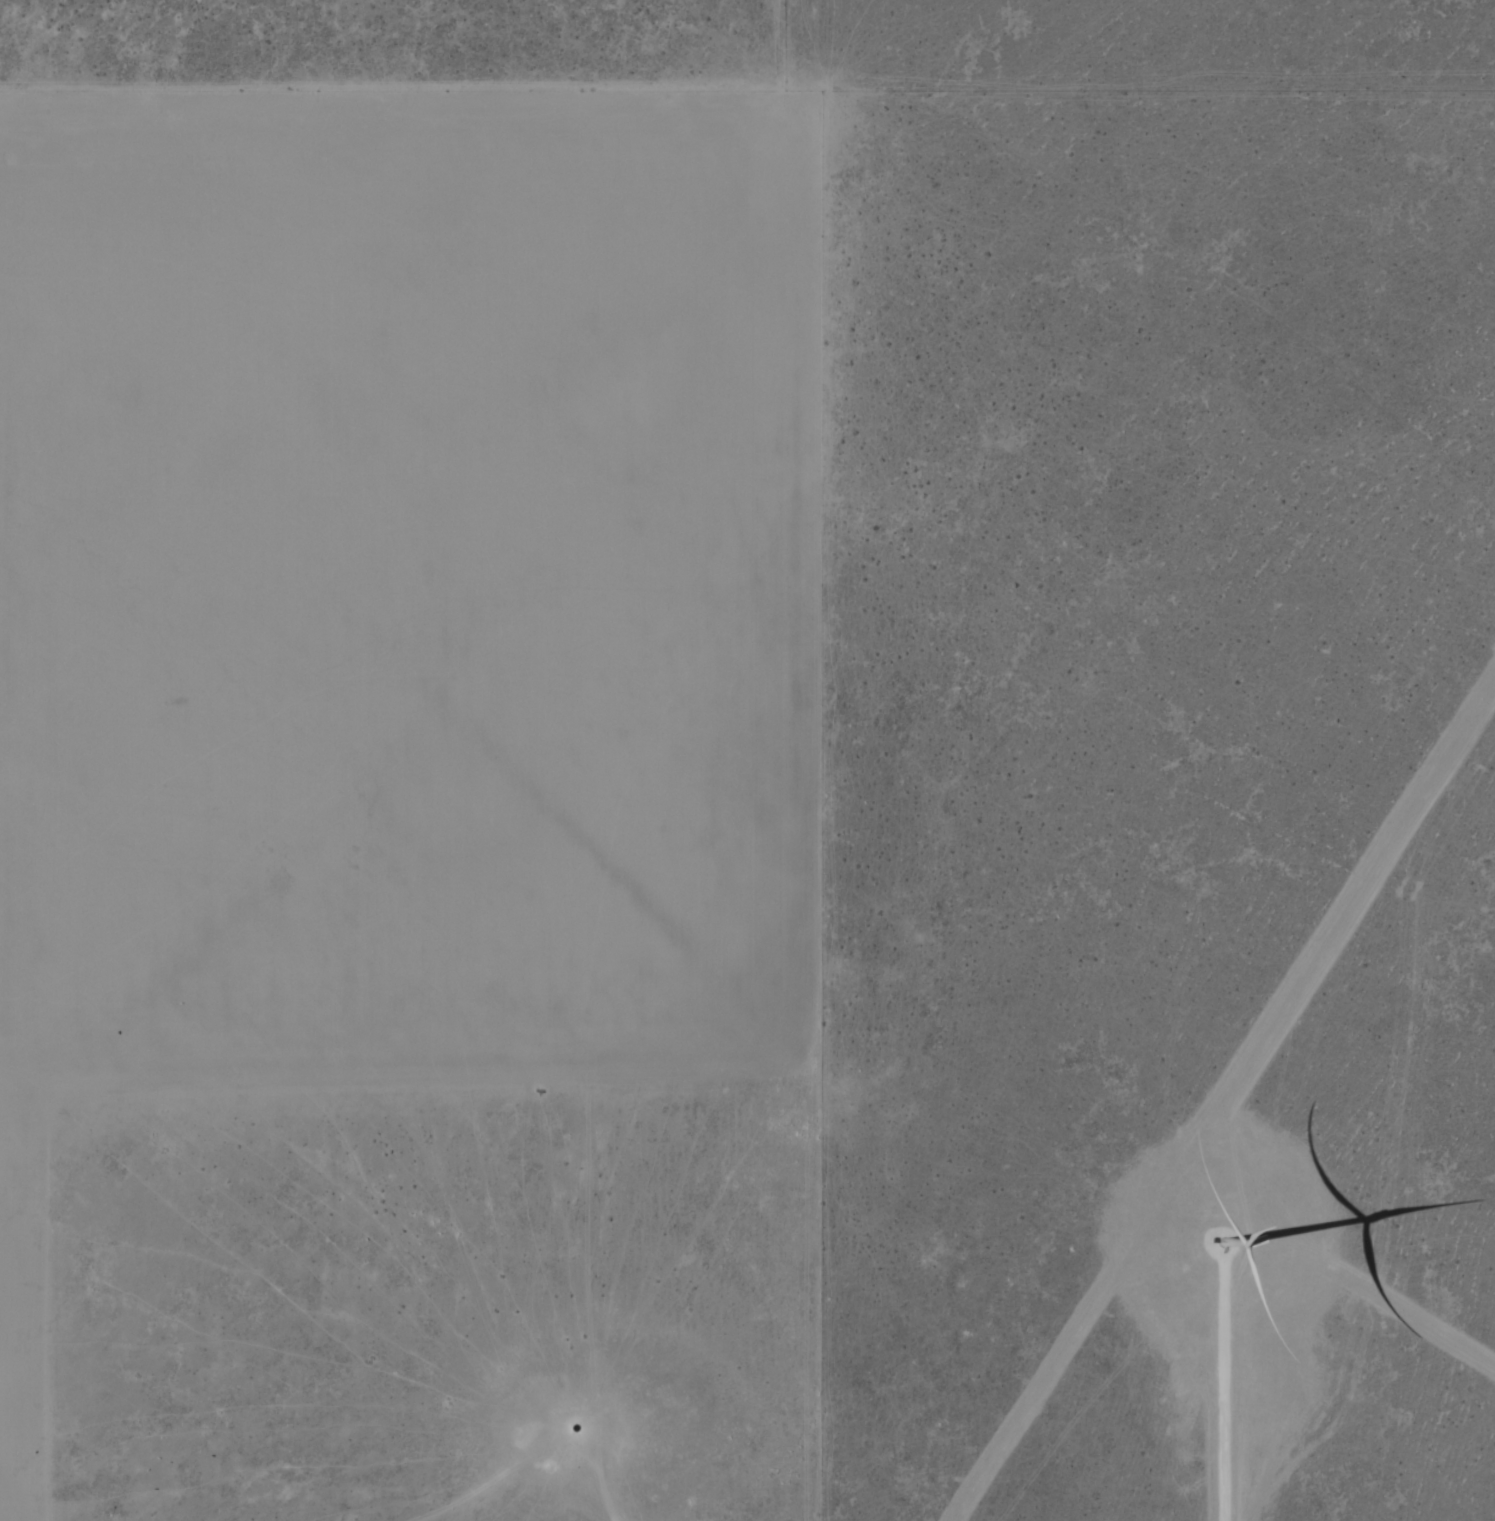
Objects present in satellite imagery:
wind turbine: (1218, 1244)

